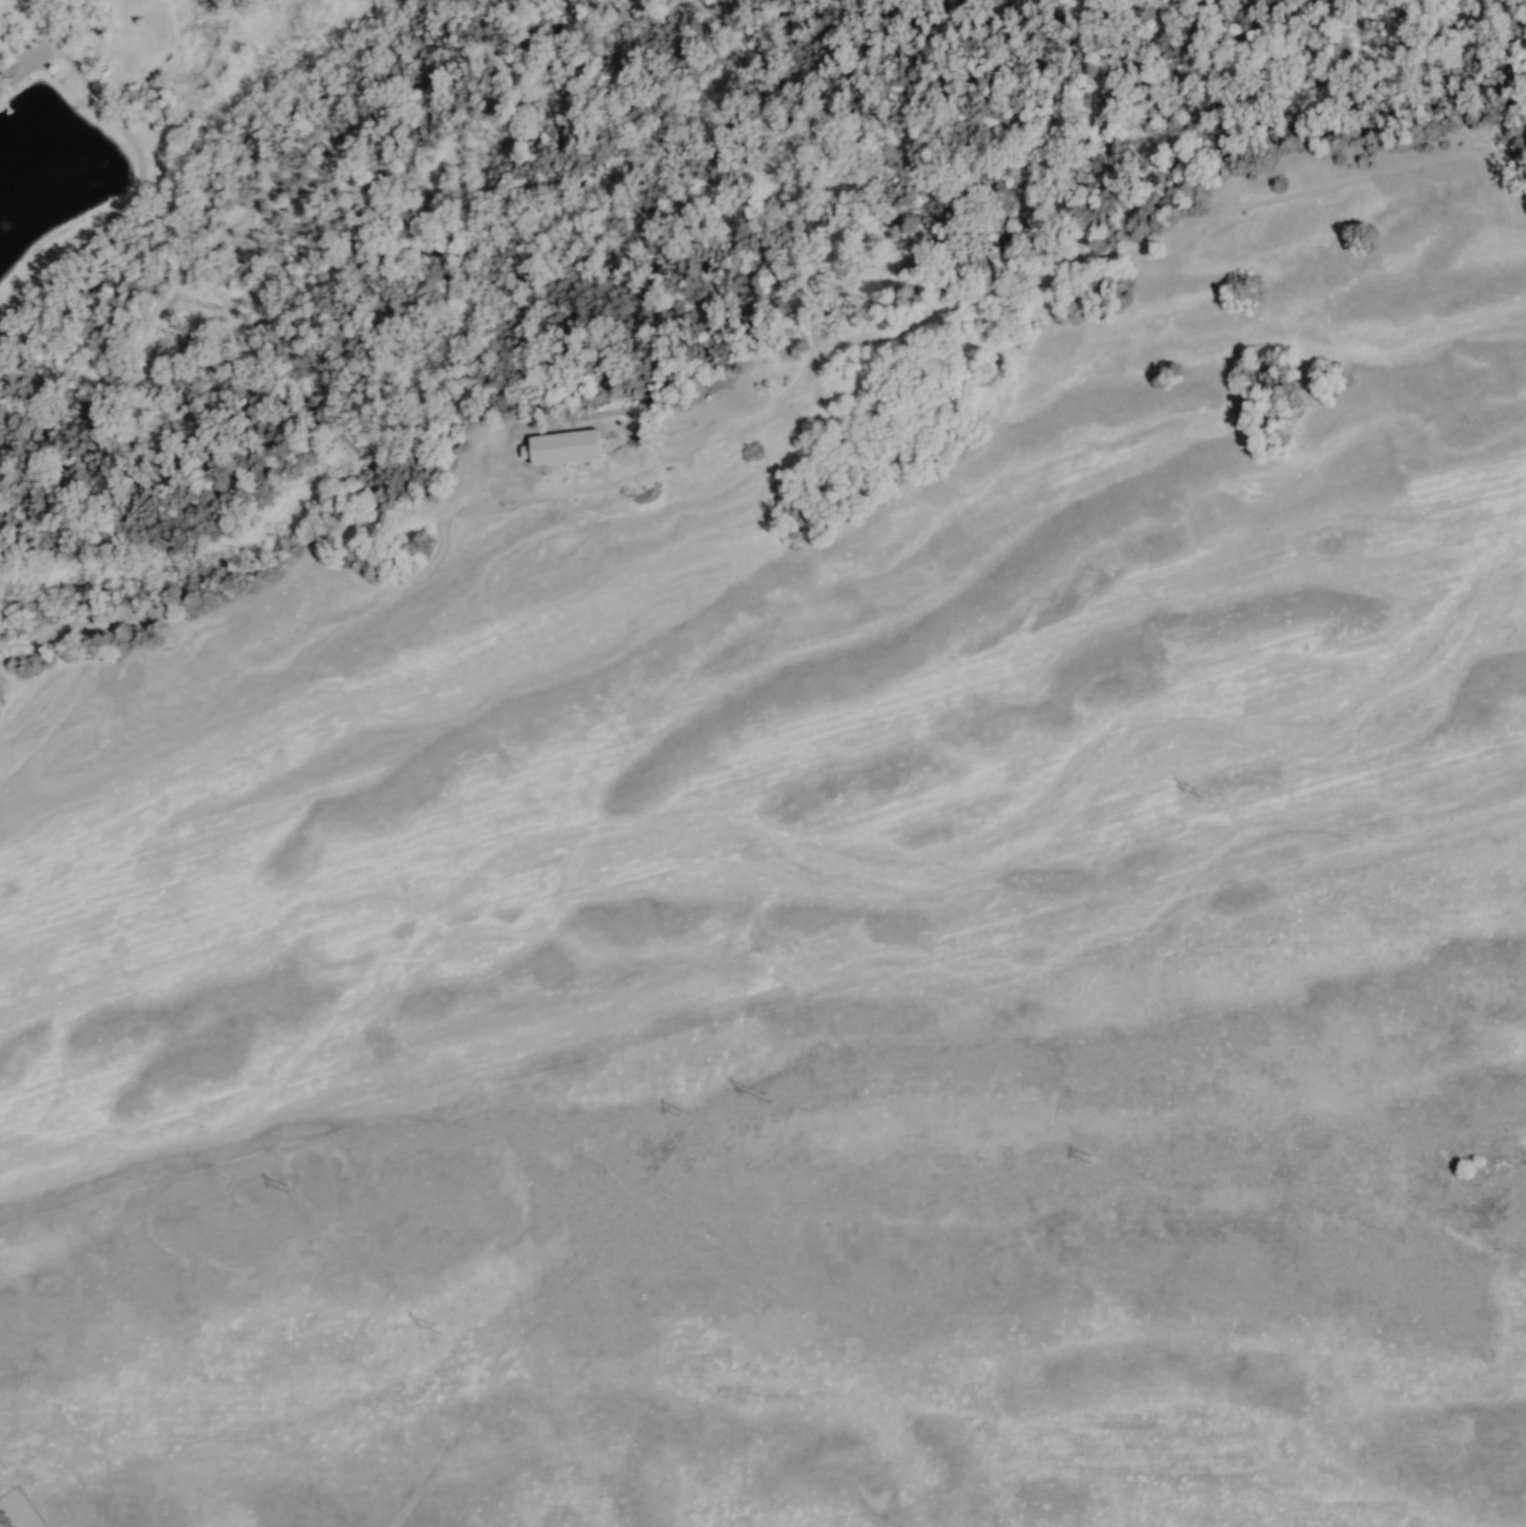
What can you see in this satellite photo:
road: (138, 167)
power tower: (1195, 793)
power tower: (762, 1097)
power tower: (432, 1328)
power substation: (16, 1510)

